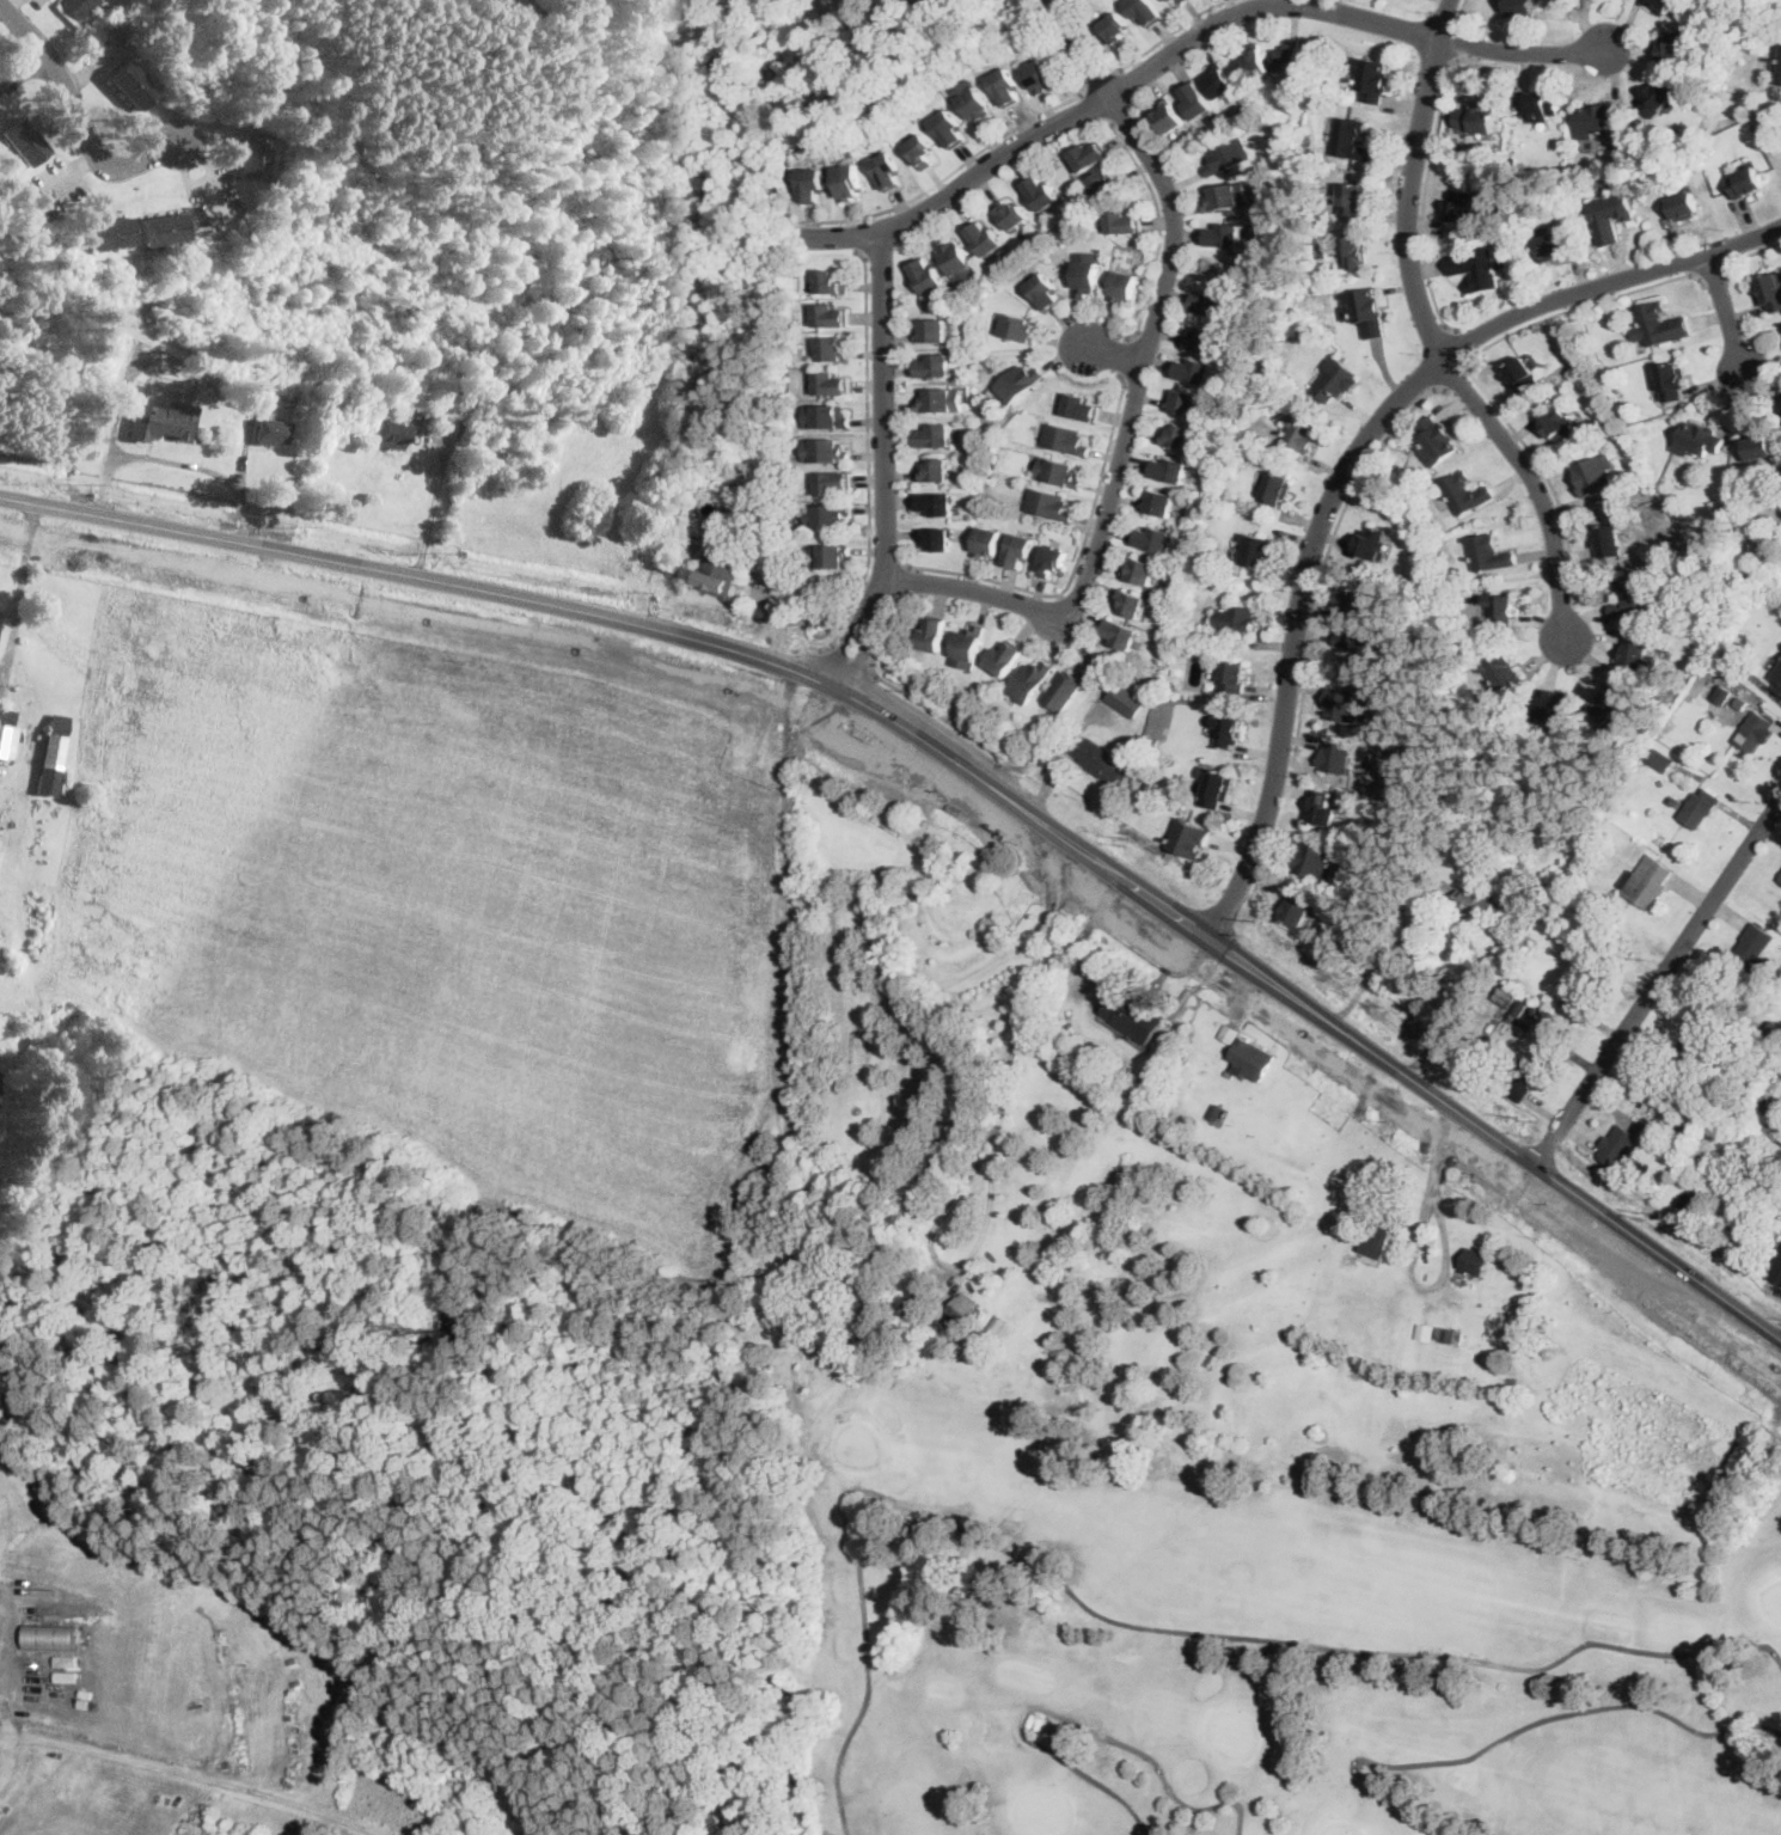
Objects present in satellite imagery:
building: (1163, 0)
building: (1165, 0)
building: (1171, 0)
building: (1183, 1)
parking lot: (37, 2)
road: (7, 4)
building: (1664, 5)
building: (78, 7)
building: (1522, 8)
building: (1145, 11)
road: (1458, 12)
building: (1116, 29)
road: (1165, 33)
road: (1457, 38)
road: (1182, 42)
building: (1675, 47)
building: (1289, 59)
building: (1255, 63)
road: (20, 67)
building: (1040, 75)
road: (1098, 75)
building: (1780, 75)
building: (1371, 78)
building: (1219, 80)
building: (131, 84)
building: (1006, 87)
building: (1658, 97)
building: (1196, 99)
building: (974, 102)
building: (1542, 104)
road: (1088, 105)
road: (81, 116)
building: (1169, 116)
building: (1479, 117)
building: (1597, 118)
building: (949, 128)
building: (1351, 139)
building: (23, 141)
building: (922, 149)
building: (253, 155)
building: (1229, 155)
building: (1088, 157)
building: (887, 171)
road: (949, 171)
road: (62, 172)
road: (1412, 178)
building: (849, 181)
building: (1745, 182)
building: (1108, 183)
parking lot: (54, 184)
road: (198, 184)
building: (812, 184)
road: (1424, 185)
building: (1041, 192)
building: (1226, 196)
parking lot: (214, 197)
building: (1352, 198)
building: (1465, 203)
building: (1681, 206)
building: (1011, 214)
building: (1610, 214)
road: (1158, 220)
building: (1120, 221)
building: (161, 228)
building: (106, 233)
road: (851, 233)
building: (1224, 233)
building: (985, 238)
building: (1552, 246)
building: (1321, 249)
building: (1354, 251)
road: (1746, 251)
building: (956, 259)
building: (1479, 268)
building: (1217, 269)
building: (1087, 273)
road: (1713, 274)
building: (926, 276)
building: (830, 282)
building: (1124, 286)
building: (1043, 290)
building: (1769, 290)
building: (1210, 302)
road: (1580, 304)
building: (1364, 310)
road: (1726, 314)
building: (830, 316)
building: (1661, 324)
building: (1020, 328)
building: (931, 331)
building: (1201, 338)
road: (1461, 344)
building: (833, 349)
road: (1110, 350)
road: (1122, 355)
building: (935, 366)
building: (1193, 369)
building: (1523, 375)
building: (221, 378)
building: (1335, 379)
road: (1457, 379)
building: (1672, 381)
building: (1017, 383)
building: (831, 384)
road: (1134, 389)
building: (466, 393)
building: (942, 400)
building: (1183, 400)
building: (1081, 406)
building: (825, 416)
building: (163, 418)
building: (1560, 426)
building: (273, 430)
building: (1300, 432)
building: (392, 434)
building: (935, 435)
building: (1177, 436)
building: (498, 439)
building: (1065, 439)
building: (1437, 439)
building: (1700, 439)
building: (1757, 447)
road: (867, 449)
building: (826, 451)
road: (1357, 452)
building: (672, 463)
building: (1169, 469)
building: (935, 470)
building: (1059, 471)
road: (1544, 471)
building: (1596, 477)
building: (717, 479)
road: (885, 481)
building: (833, 482)
road: (1534, 487)
building: (1277, 488)
building: (1224, 491)
building: (1465, 493)
building: (936, 503)
building: (1158, 503)
road: (434, 504)
building: (1049, 504)
building: (1718, 513)
building: (827, 515)
building: (937, 537)
building: (1153, 538)
building: (1609, 540)
building: (986, 542)
building: (1373, 542)
road: (415, 549)
building: (1018, 550)
building: (1256, 550)
road: (882, 551)
building: (1489, 552)
building: (834, 556)
building: (1052, 561)
road: (1075, 562)
building: (1140, 570)
building: (715, 574)
building: (1740, 579)
building: (1632, 595)
building: (1357, 597)
building: (1697, 600)
road: (18, 601)
building: (1131, 601)
building: (1500, 608)
building: (1710, 618)
building: (1236, 619)
building: (1120, 632)
building: (932, 635)
road: (1311, 635)
building: (968, 647)
building: (1636, 650)
building: (1358, 653)
road: (847, 656)
building: (1004, 657)
building: (1737, 663)
building: (1179, 669)
building: (1501, 671)
building: (1232, 677)
building: (1777, 679)
building: (1029, 681)
building: (1738, 687)
building: (1065, 689)
building: (1748, 692)
building: (1721, 693)
building: (1126, 701)
building: (1740, 703)
building: (1612, 704)
building: (1344, 705)
building: (1552, 707)
building: (1226, 729)
building: (1755, 729)
building: (7, 733)
building: (1139, 734)
building: (1133, 741)
building: (53, 754)
road: (961, 757)
building: (1335, 758)
building: (1100, 759)
building: (1549, 759)
building: (1660, 760)
road: (1034, 778)
building: (1149, 785)
building: (1217, 788)
building: (1354, 790)
road: (965, 796)
building: (1672, 800)
building: (1700, 807)
building: (1322, 808)
building: (1626, 811)
road: (965, 818)
building: (1439, 833)
building: (1189, 838)
building: (1314, 861)
building: (1577, 879)
building: (1780, 879)
building: (1647, 880)
building: (1475, 901)
road: (1224, 904)
building: (1298, 907)
building: (1523, 942)
building: (1749, 952)
road: (1391, 954)
building: (1120, 956)
building: (1511, 959)
road: (1659, 977)
building: (1584, 990)
building: (1505, 996)
building: (1185, 997)
building: (1520, 1005)
building: (1136, 1014)
road: (1387, 1023)
building: (1229, 1032)
building: (1702, 1034)
building: (1251, 1058)
building: (1230, 1072)
building: (1520, 1078)
building: (1767, 1103)
building: (1217, 1111)
building: (1682, 1134)
building: (1654, 1138)
road: (1550, 1144)
road: (993, 1146)
building: (1617, 1146)
building: (1718, 1167)
building: (1696, 1187)
building: (1687, 1205)
road: (1673, 1232)
building: (1381, 1234)
building: (1475, 1261)
road: (1445, 1268)
building: (1776, 1271)
building: (931, 1291)
building: (912, 1304)
building: (962, 1309)
building: (455, 1319)
building: (998, 1321)
building: (1425, 1331)
building: (1449, 1335)
building: (1506, 1346)
crop: (305, 1605)
building: (56, 1635)
park: (1248, 1635)
road: (8, 1656)
building: (69, 1659)
building: (69, 1675)
building: (88, 1692)
building: (86, 1701)
road: (23, 1733)
road: (218, 1780)
building: (130, 1786)

